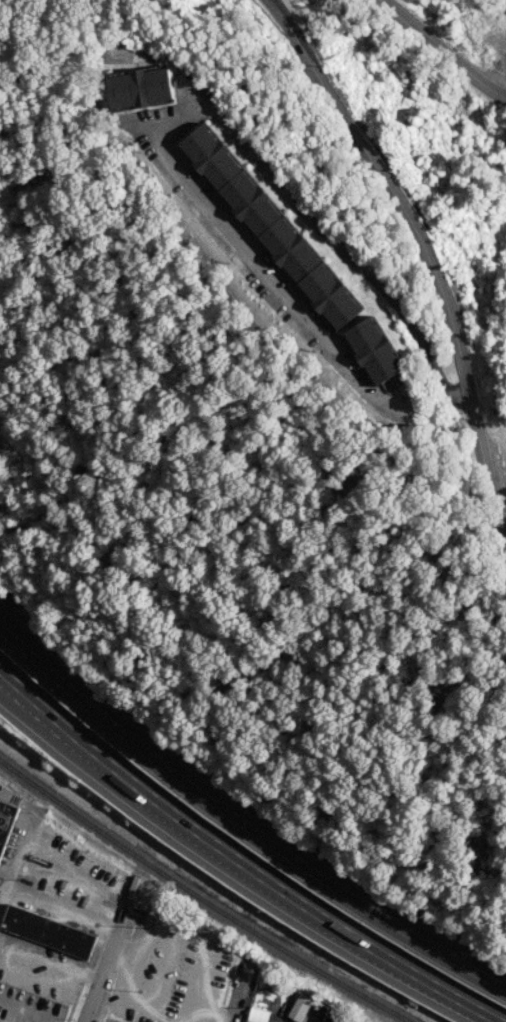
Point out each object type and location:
road: (441, 50)
building: (140, 86)
road: (208, 103)
building: (213, 157)
building: (253, 204)
building: (293, 251)
road: (427, 259)
building: (333, 298)
building: (375, 352)
road: (504, 523)
road: (60, 680)
road: (11, 689)
road: (11, 692)
road: (167, 809)
building: (6, 824)
road: (23, 844)
road: (307, 872)
road: (71, 882)
road: (2, 898)
railway: (202, 900)
road: (61, 912)
parking lot: (48, 913)
building: (48, 932)
road: (188, 940)
road: (5, 955)
road: (104, 962)
road: (410, 966)
parking lot: (173, 973)
road: (238, 994)
road: (147, 996)
road: (247, 996)
building: (300, 1008)
road: (30, 1009)
road: (188, 1011)
road: (7, 1012)
building: (258, 1015)
building: (325, 1015)
road: (105, 1019)
parking lot: (115, 1019)
building: (342, 1020)

